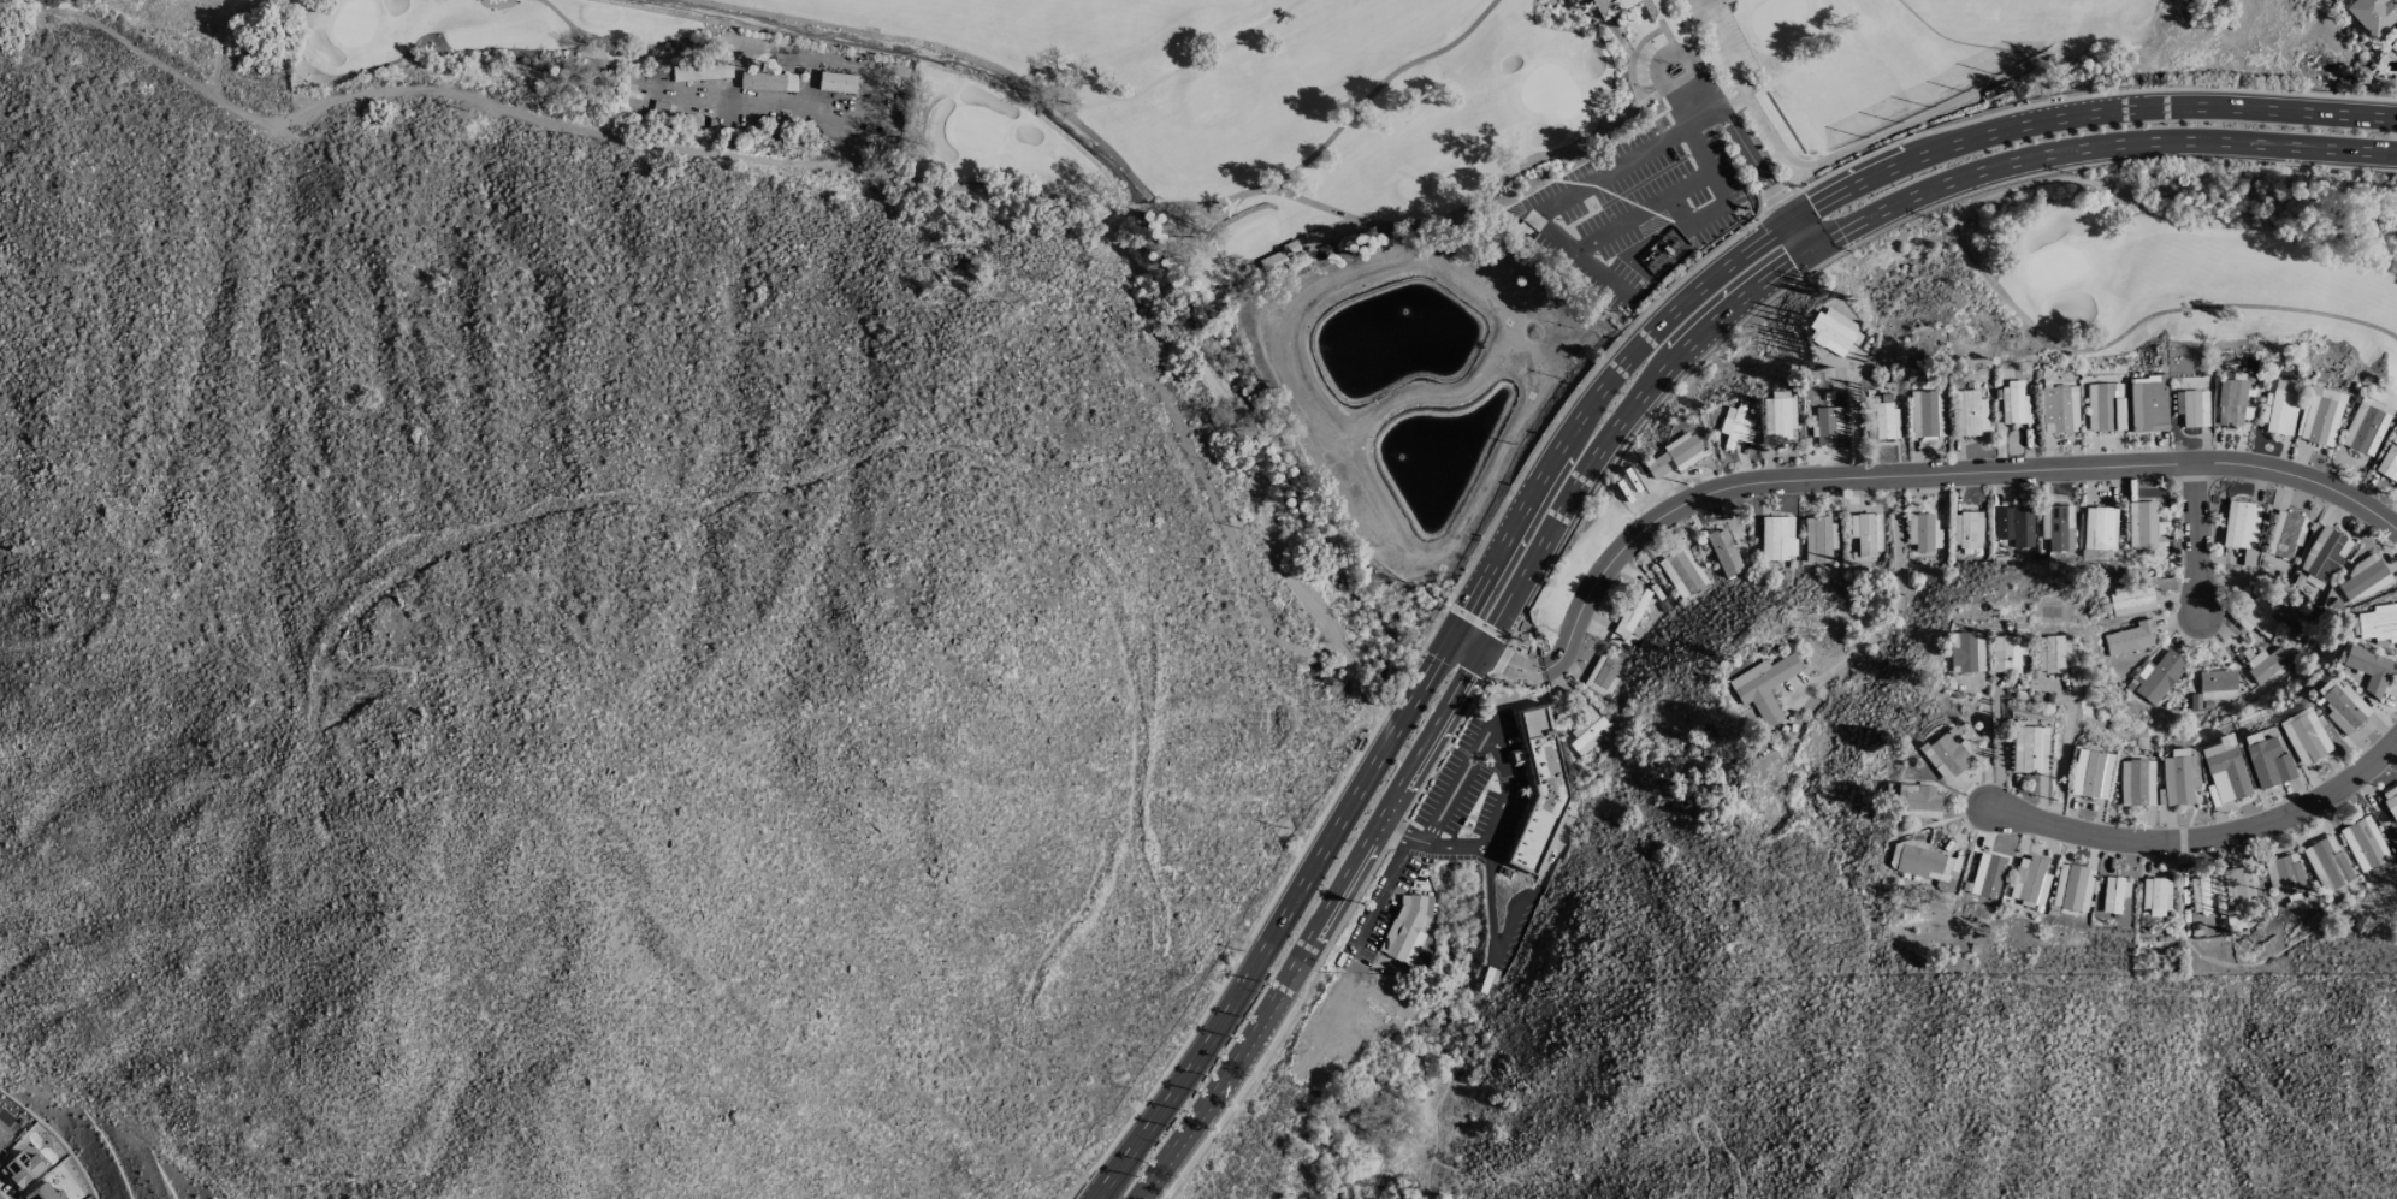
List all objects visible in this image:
road: (1703, 1)
building: (1626, 7)
building: (2372, 14)
building: (2393, 44)
road: (1667, 46)
road: (1632, 58)
building: (700, 71)
road: (1677, 71)
building: (836, 82)
road: (2082, 95)
park: (1568, 136)
road: (1758, 165)
road: (1772, 197)
road: (1825, 198)
road: (1721, 213)
traffic signals: (1792, 216)
road: (1842, 227)
road: (1551, 233)
road: (1863, 238)
traffic signals: (1813, 243)
building: (1829, 331)
building: (2013, 403)
building: (2148, 403)
building: (2233, 403)
building: (2105, 406)
building: (2279, 408)
building: (2059, 409)
building: (2194, 409)
building: (1927, 414)
building: (1969, 414)
building: (1778, 416)
building: (2319, 416)
building: (1884, 417)
building: (1827, 425)
building: (2366, 426)
building: (1733, 427)
building: (1674, 456)
building: (2387, 463)
road: (1900, 475)
building: (2014, 526)
building: (2141, 526)
building: (2060, 528)
building: (2100, 528)
building: (1966, 529)
building: (2241, 529)
building: (1923, 532)
building: (1866, 533)
building: (2285, 534)
road: (2192, 535)
building: (1777, 538)
building: (1818, 539)
building: (1723, 552)
building: (2325, 553)
building: (1681, 571)
building: (2362, 581)
road: (1894, 593)
building: (1629, 616)
building: (2255, 616)
road: (1478, 622)
building: (2378, 624)
traffic signals: (1448, 634)
building: (2131, 637)
road: (1462, 642)
traffic signals: (1478, 652)
building: (1965, 652)
building: (2007, 653)
building: (2050, 654)
road: (1501, 658)
building: (2266, 665)
building: (2367, 669)
road: (1407, 670)
building: (1602, 677)
building: (2160, 677)
road: (2040, 684)
building: (2217, 684)
building: (1763, 687)
building: (2342, 706)
building: (1587, 730)
building: (2304, 736)
road: (1446, 743)
building: (2029, 748)
building: (1945, 754)
building: (2266, 761)
building: (2225, 767)
building: (2090, 773)
building: (2177, 780)
building: (2136, 782)
building: (1538, 790)
road: (1452, 793)
road: (1507, 794)
building: (1917, 801)
building: (2390, 802)
road: (1393, 832)
road: (1391, 835)
road: (2208, 836)
road: (1416, 842)
building: (2363, 843)
road: (1450, 848)
building: (1925, 862)
building: (2327, 866)
building: (2284, 877)
building: (2030, 880)
building: (2242, 884)
building: (2113, 894)
building: (2201, 894)
road: (1379, 895)
building: (2155, 896)
road: (1278, 921)
road: (1312, 928)
building: (1403, 930)
road: (1492, 942)
road: (1279, 1028)
road: (1421, 1056)
road: (1704, 1121)
road: (1497, 1173)
road: (1081, 1185)

